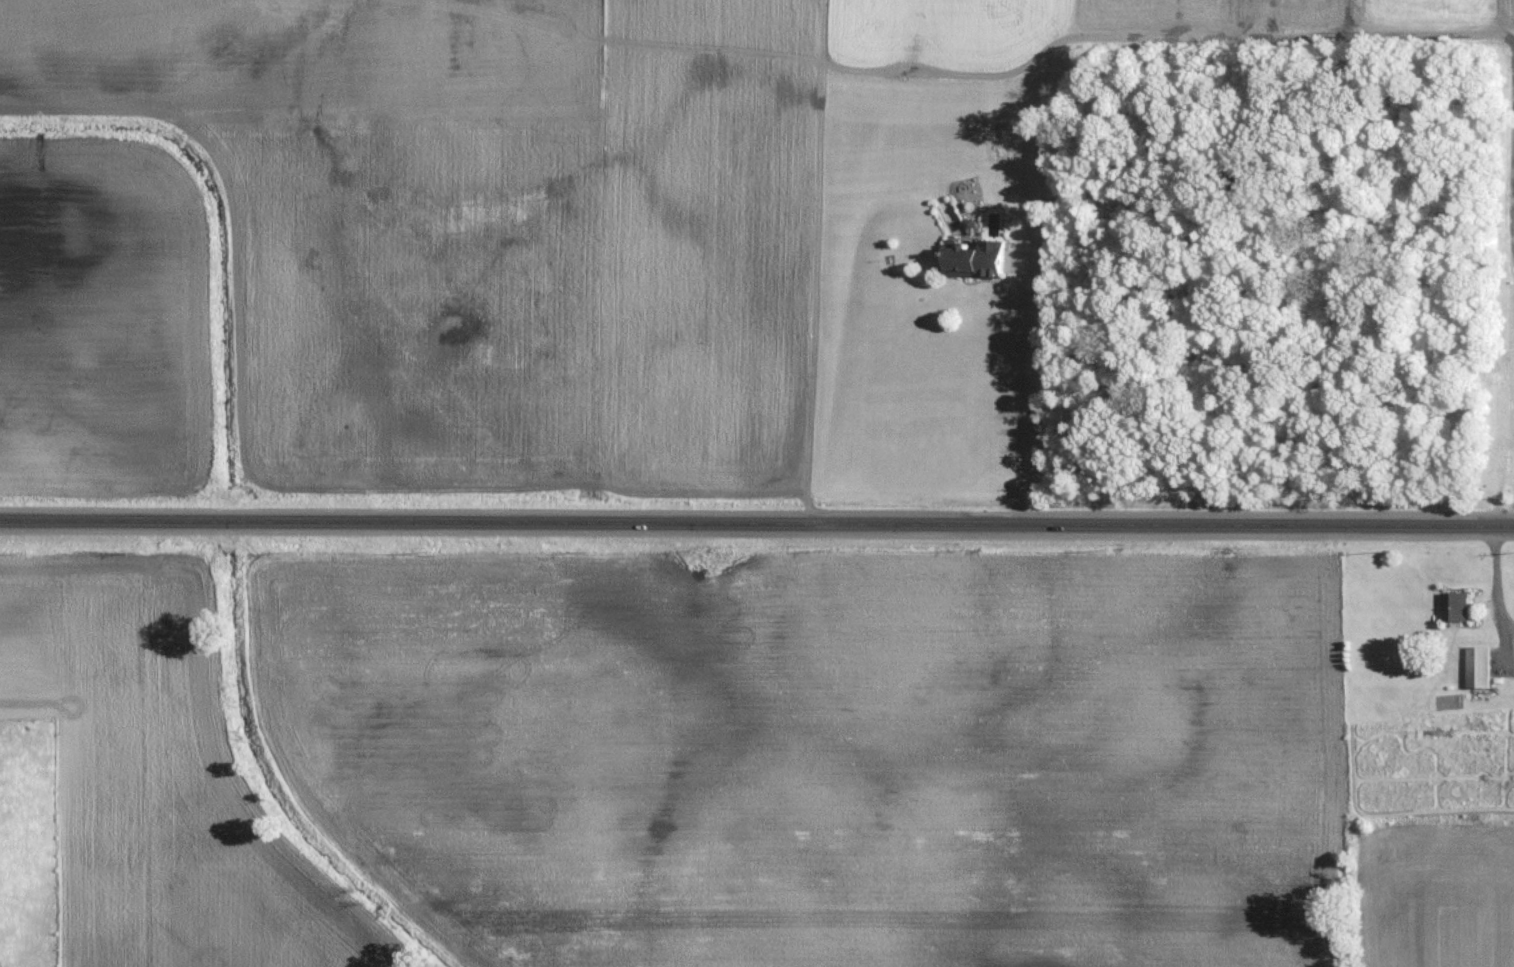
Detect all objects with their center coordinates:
building: (982, 248)
road: (1019, 393)
road: (757, 522)
road: (1498, 592)
building: (1458, 607)
building: (1482, 668)

